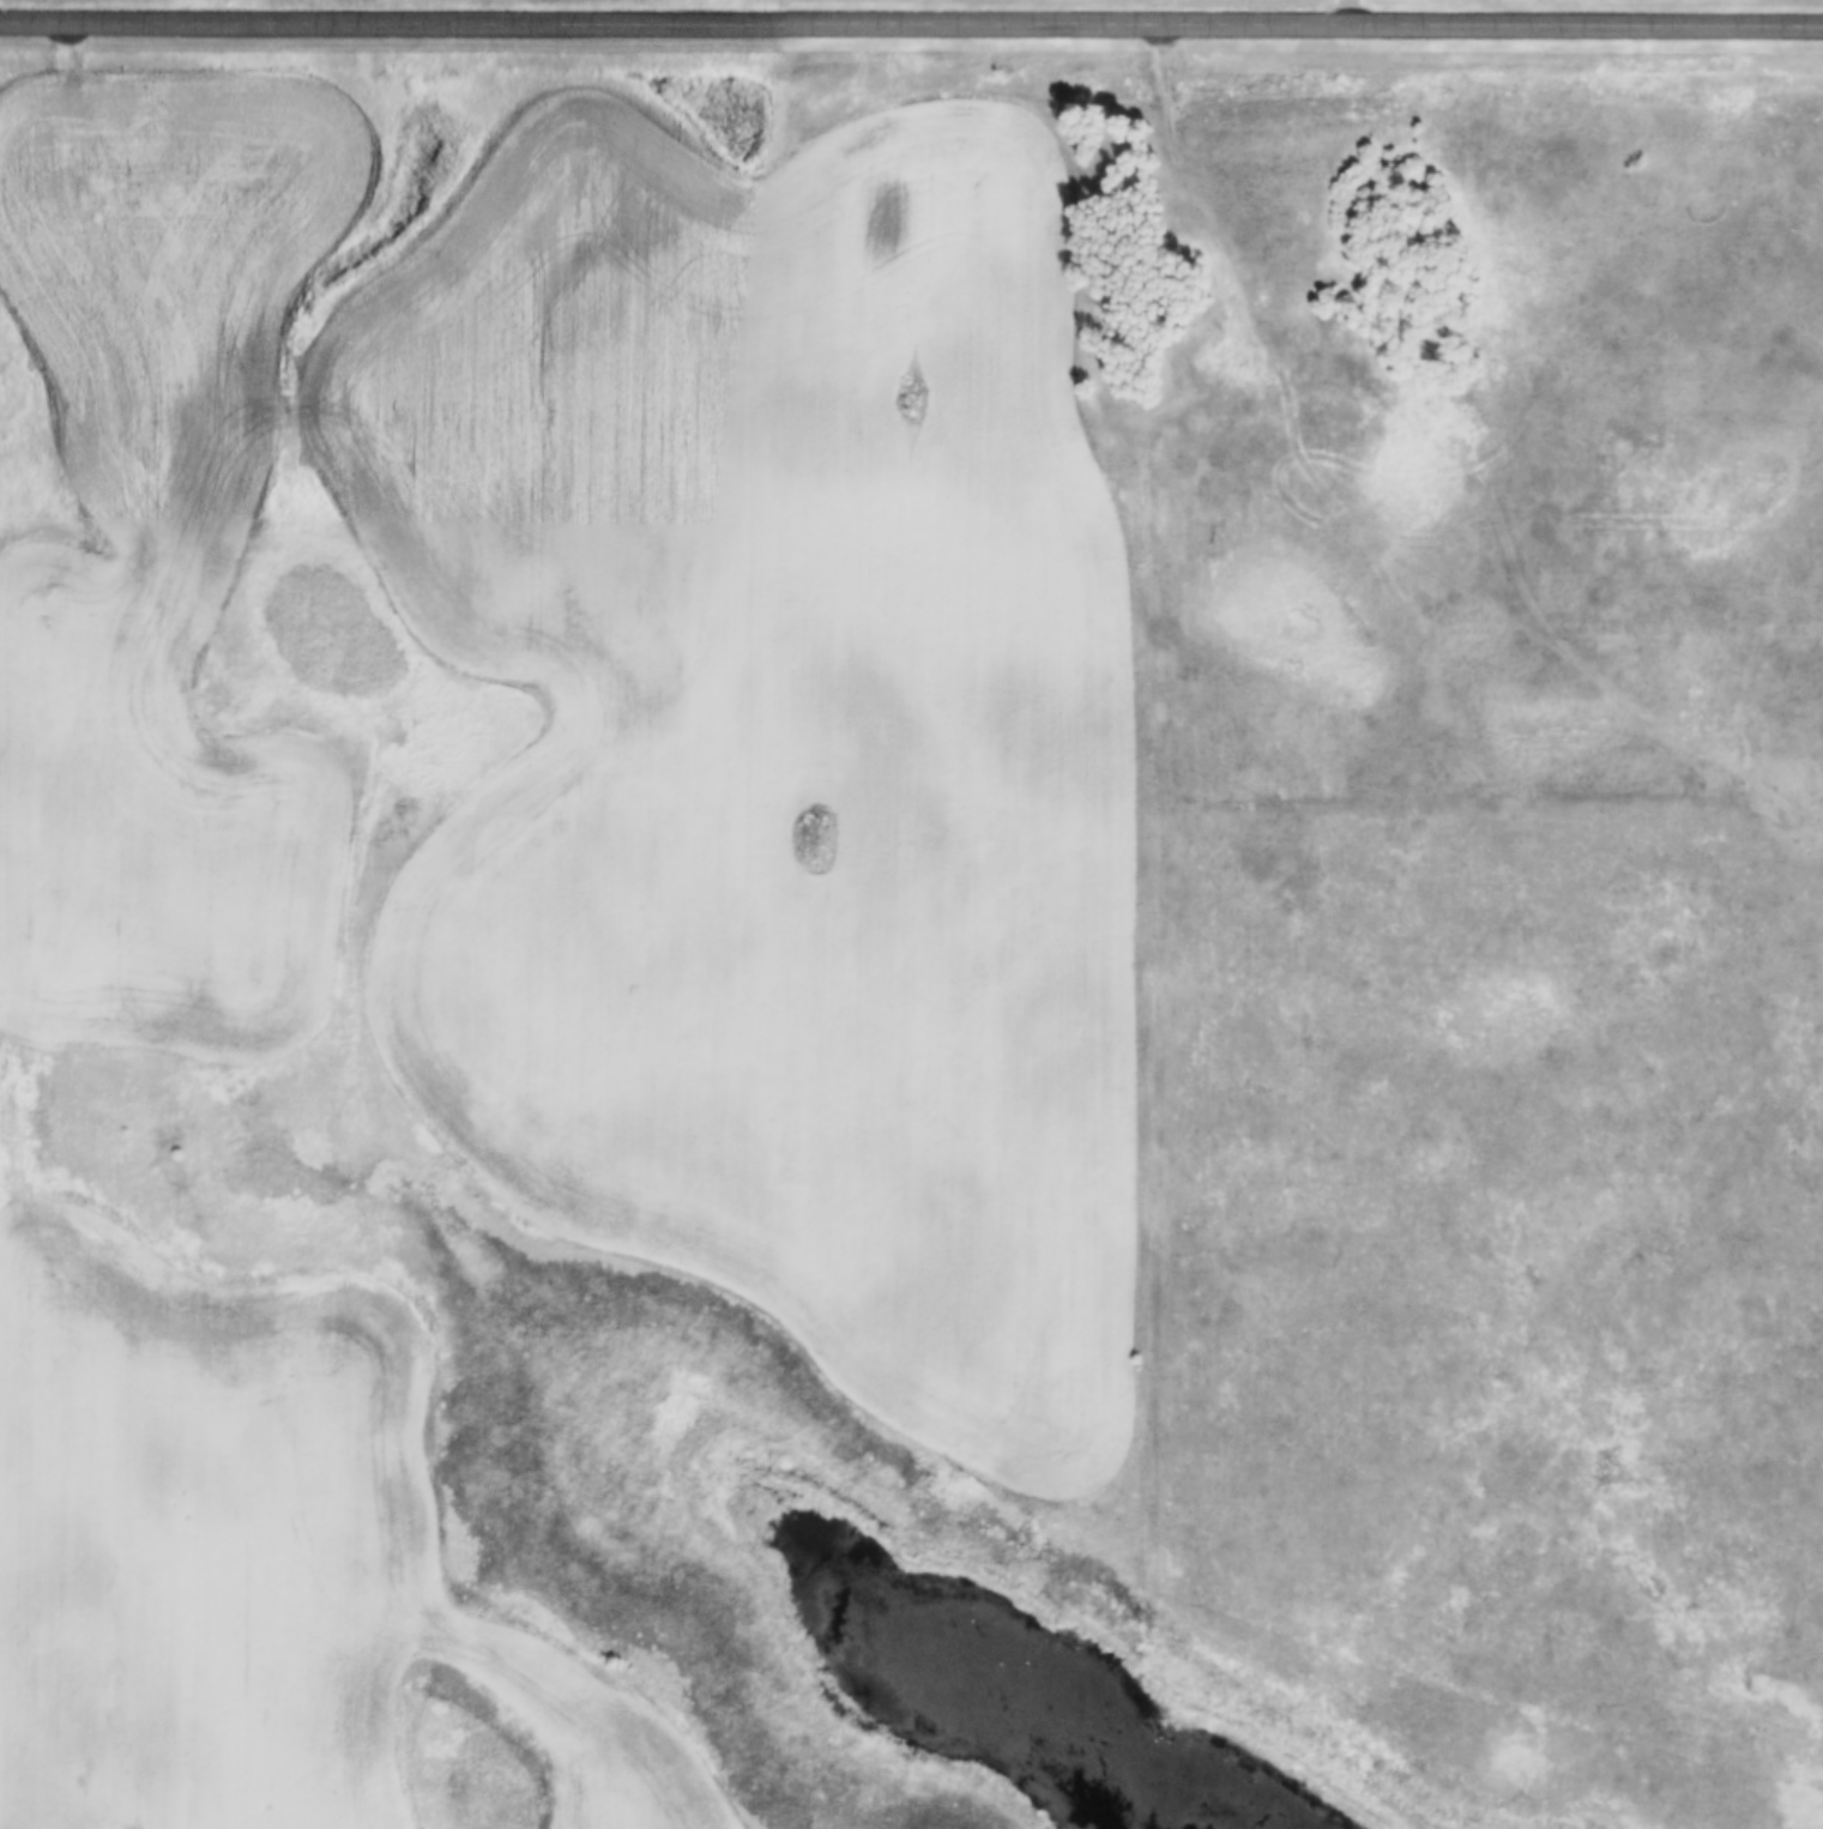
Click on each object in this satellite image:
road: (911, 22)

